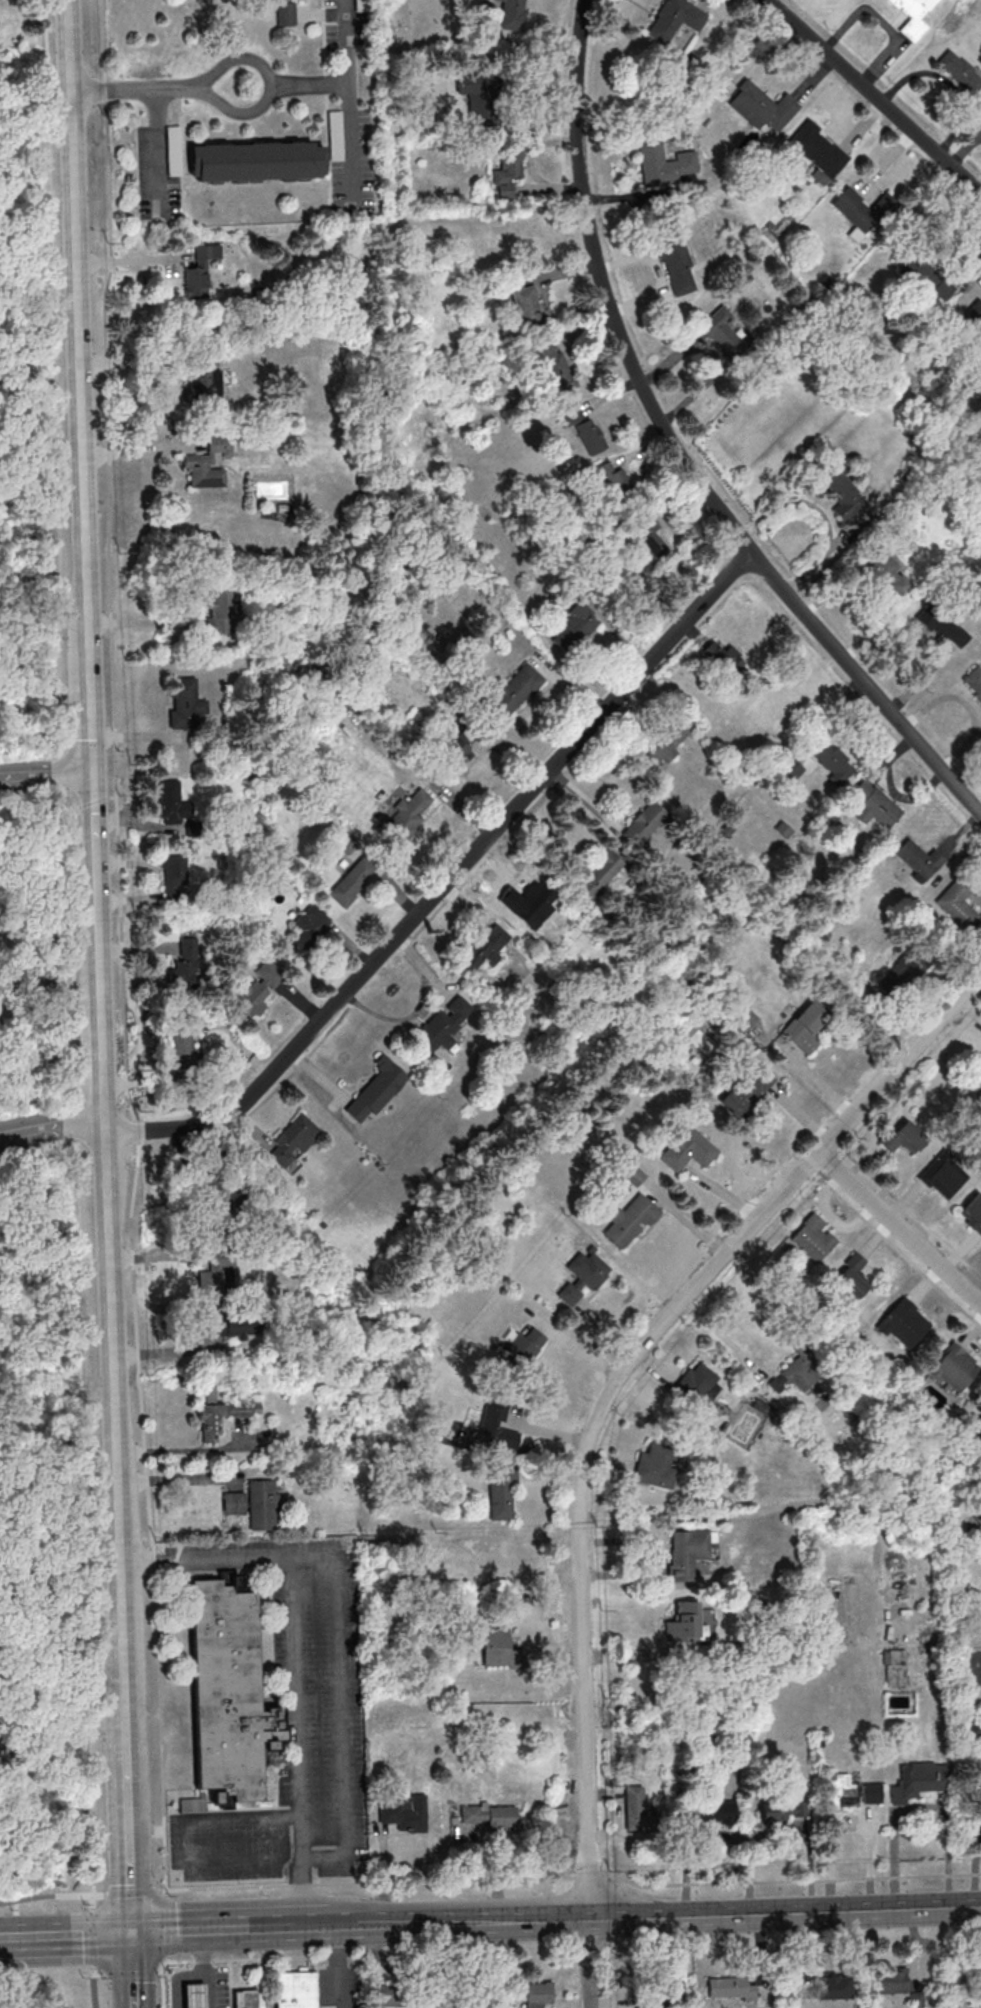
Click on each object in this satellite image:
building: (284, 12)
building: (512, 14)
building: (913, 17)
building: (675, 19)
building: (959, 75)
road: (307, 88)
road: (141, 91)
road: (875, 96)
road: (344, 97)
road: (214, 99)
building: (761, 106)
building: (816, 149)
building: (173, 150)
road: (156, 152)
building: (254, 159)
building: (664, 165)
building: (508, 172)
building: (861, 207)
building: (492, 252)
road: (130, 259)
building: (673, 259)
building: (199, 271)
building: (918, 271)
building: (523, 302)
building: (976, 314)
road: (80, 323)
building: (726, 333)
building: (555, 366)
building: (205, 383)
building: (584, 429)
road: (137, 450)
road: (681, 451)
building: (210, 463)
building: (613, 480)
building: (841, 494)
building: (650, 552)
building: (889, 571)
building: (220, 611)
building: (944, 625)
building: (575, 626)
building: (723, 658)
building: (974, 681)
building: (510, 694)
building: (185, 702)
road: (93, 709)
building: (664, 742)
building: (459, 746)
building: (832, 760)
building: (789, 770)
traffic signals: (95, 771)
road: (47, 773)
building: (170, 800)
building: (874, 805)
building: (409, 813)
building: (645, 824)
building: (919, 859)
building: (176, 873)
building: (599, 874)
road: (98, 876)
road: (450, 878)
building: (353, 881)
building: (958, 903)
building: (527, 904)
building: (308, 929)
building: (484, 949)
building: (189, 961)
building: (904, 971)
building: (33, 985)
building: (258, 989)
road: (51, 1012)
building: (744, 1016)
building: (805, 1025)
building: (441, 1029)
building: (182, 1047)
road: (104, 1049)
building: (978, 1061)
road: (900, 1064)
building: (525, 1088)
building: (376, 1090)
building: (747, 1090)
road: (53, 1125)
building: (903, 1136)
building: (294, 1140)
building: (687, 1149)
building: (949, 1174)
building: (634, 1176)
building: (221, 1205)
building: (973, 1212)
building: (631, 1221)
road: (900, 1227)
building: (814, 1237)
building: (852, 1275)
building: (584, 1276)
building: (216, 1279)
building: (904, 1323)
building: (217, 1327)
road: (723, 1340)
building: (523, 1345)
building: (955, 1368)
building: (797, 1374)
building: (696, 1388)
road: (116, 1406)
building: (221, 1414)
building: (496, 1426)
building: (975, 1435)
building: (655, 1467)
road: (177, 1479)
building: (501, 1493)
road: (583, 1494)
building: (234, 1503)
building: (262, 1505)
building: (977, 1516)
building: (690, 1552)
building: (685, 1622)
building: (499, 1649)
road: (295, 1659)
building: (895, 1668)
building: (228, 1692)
road: (340, 1705)
road: (127, 1719)
road: (127, 1752)
building: (919, 1782)
building: (850, 1791)
building: (192, 1804)
road: (919, 1806)
building: (639, 1811)
building: (780, 1812)
building: (405, 1813)
building: (708, 1813)
building: (490, 1815)
road: (189, 1825)
road: (129, 1847)
road: (48, 1895)
road: (784, 1913)
road: (499, 1923)
road: (386, 1926)
road: (333, 1927)
road: (275, 1928)
road: (187, 1930)
traffic signals: (131, 1932)
road: (65, 1934)
road: (92, 1951)
road: (239, 1959)
road: (588, 1964)
road: (131, 1969)
road: (127, 1975)
road: (200, 1975)
building: (893, 1981)
building: (978, 1981)
building: (728, 1987)
building: (832, 1987)
building: (295, 1989)
road: (208, 1991)
building: (665, 1992)
building: (538, 1995)
building: (193, 1996)
building: (387, 1996)
building: (246, 1999)

